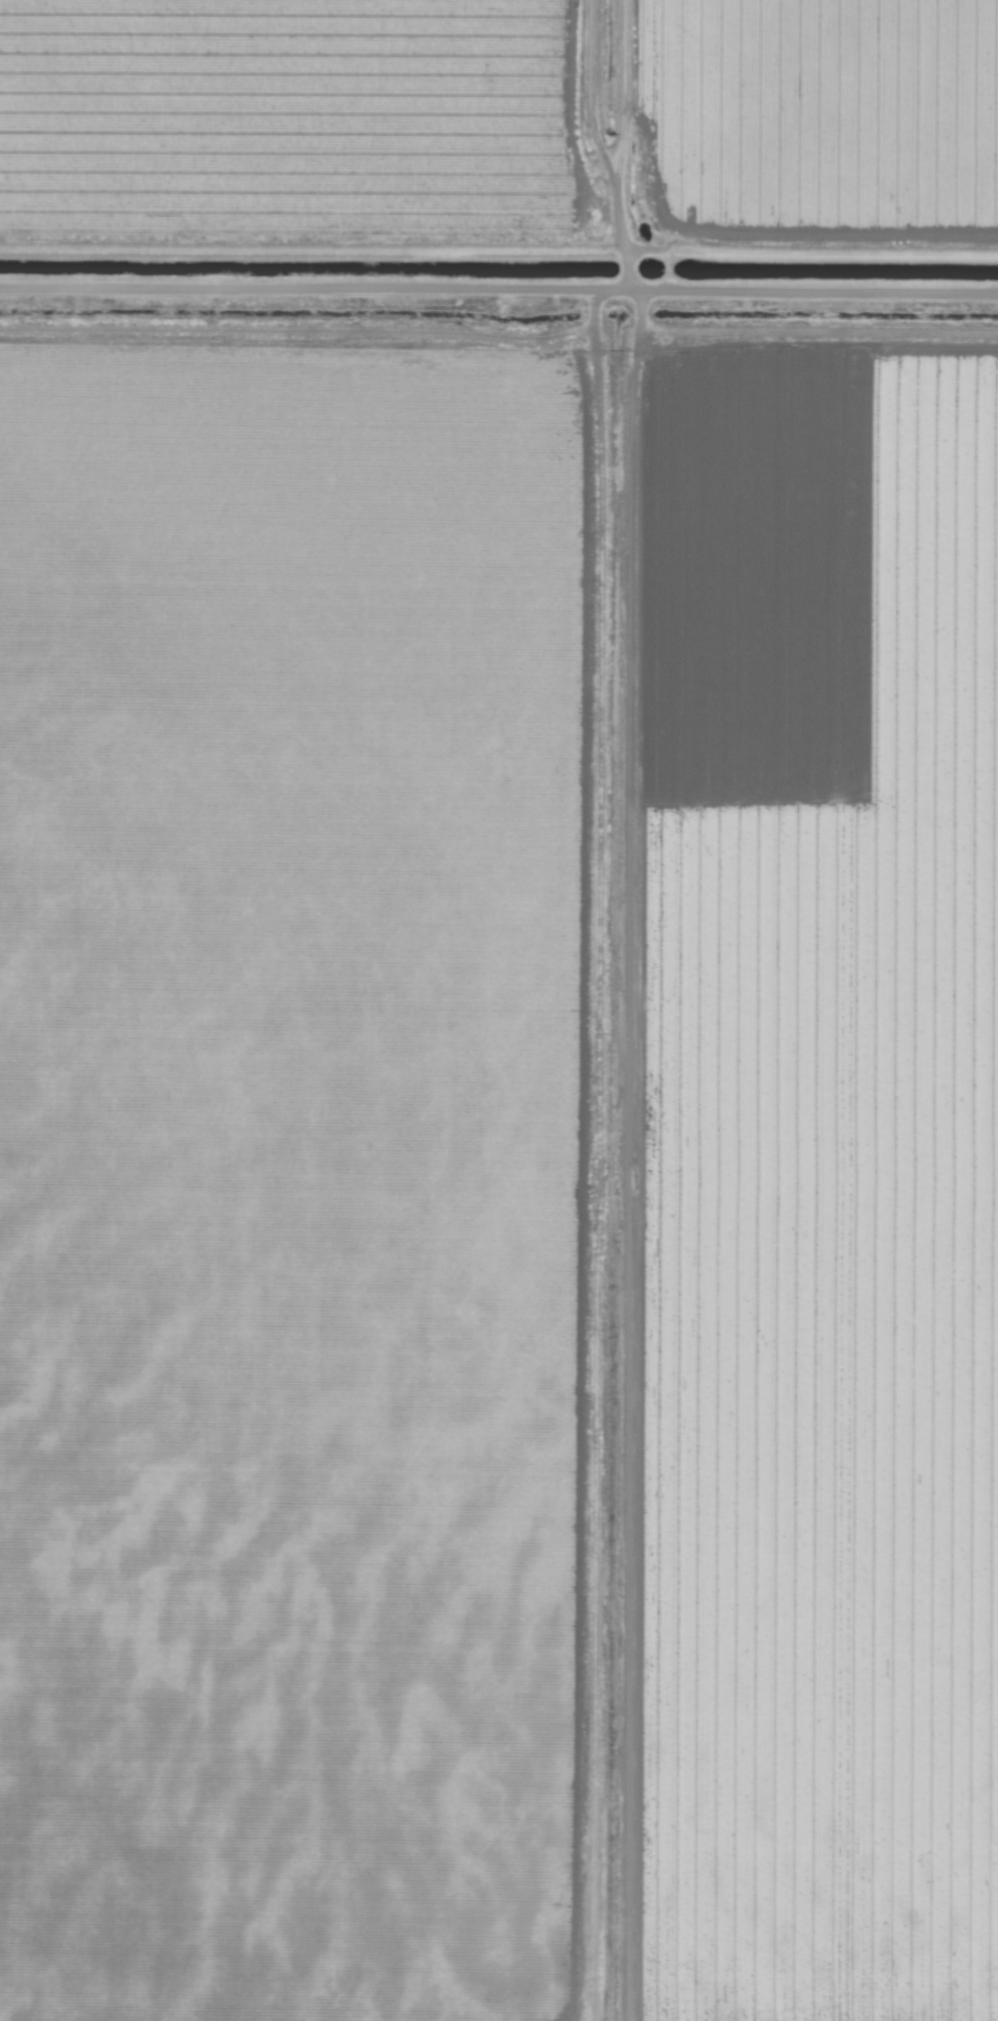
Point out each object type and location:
road: (499, 316)

